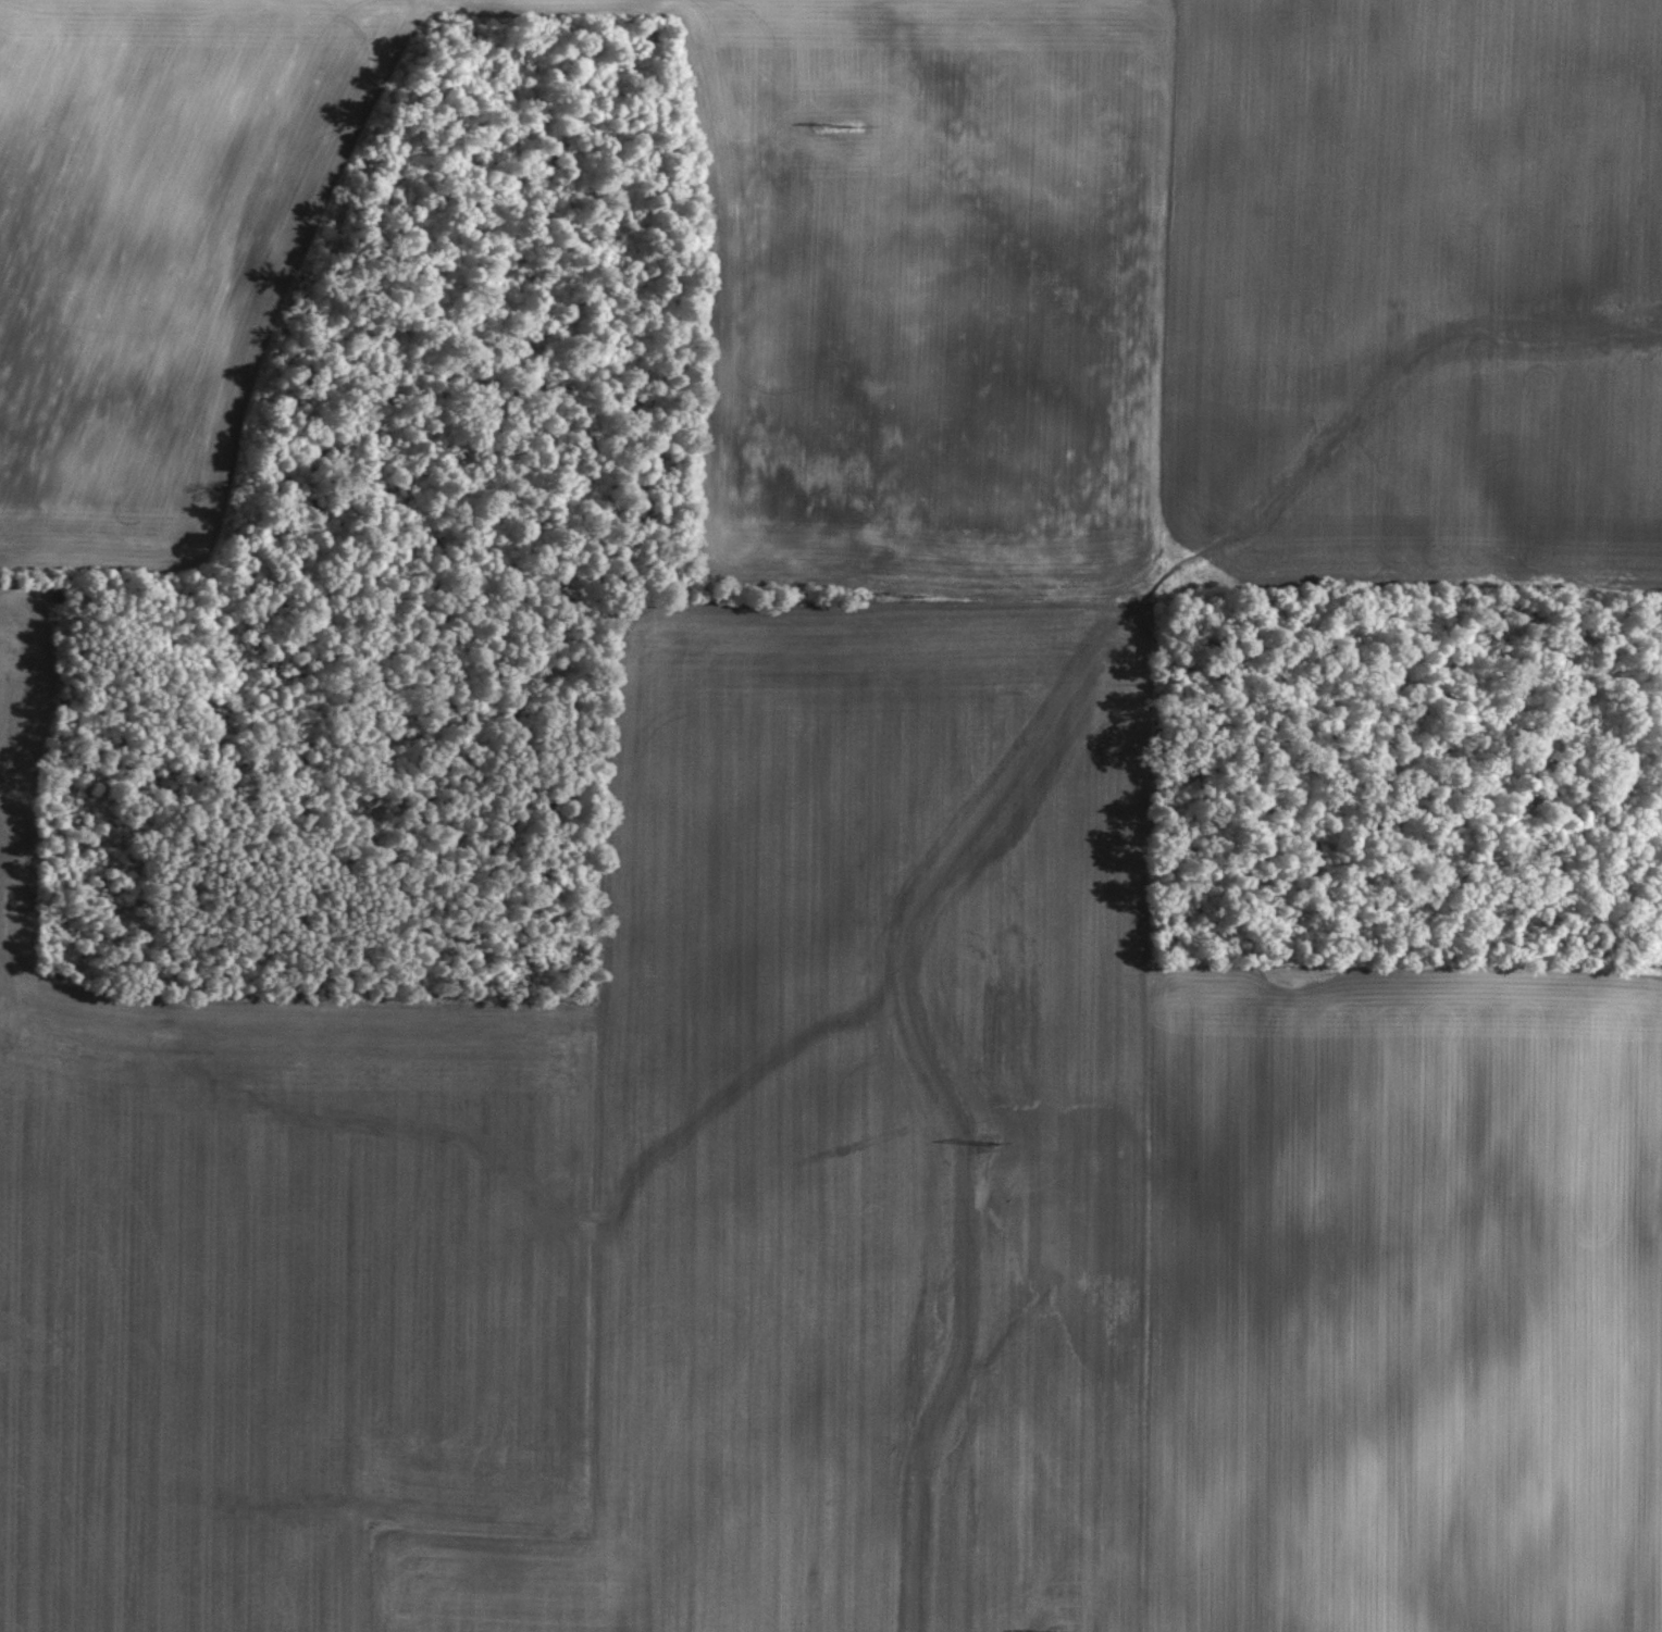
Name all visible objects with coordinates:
power tower: (845, 127)
power tower: (910, 595)
power tower: (984, 1144)

